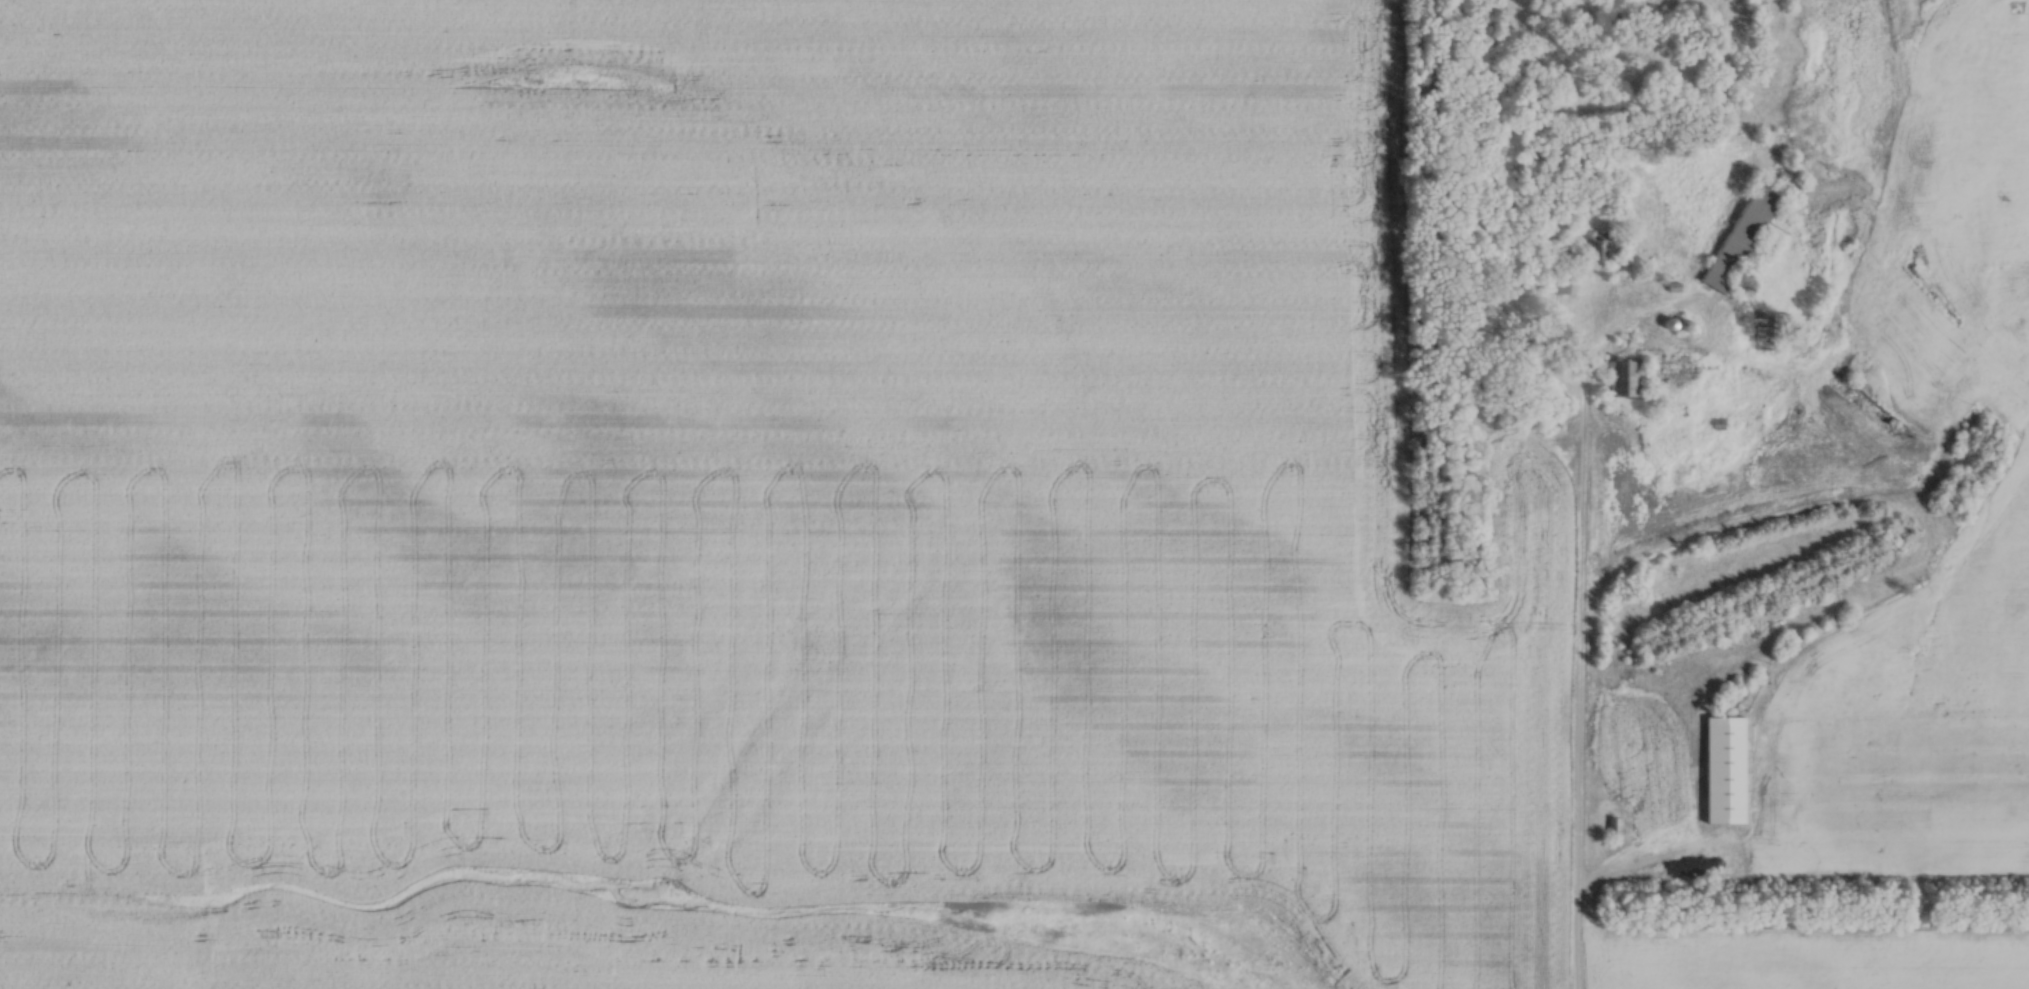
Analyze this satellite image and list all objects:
building: (1741, 236)
building: (1606, 246)
building: (1772, 322)
building: (1626, 379)
road: (1581, 608)
building: (1726, 768)
building: (1617, 825)
road: (1609, 876)

